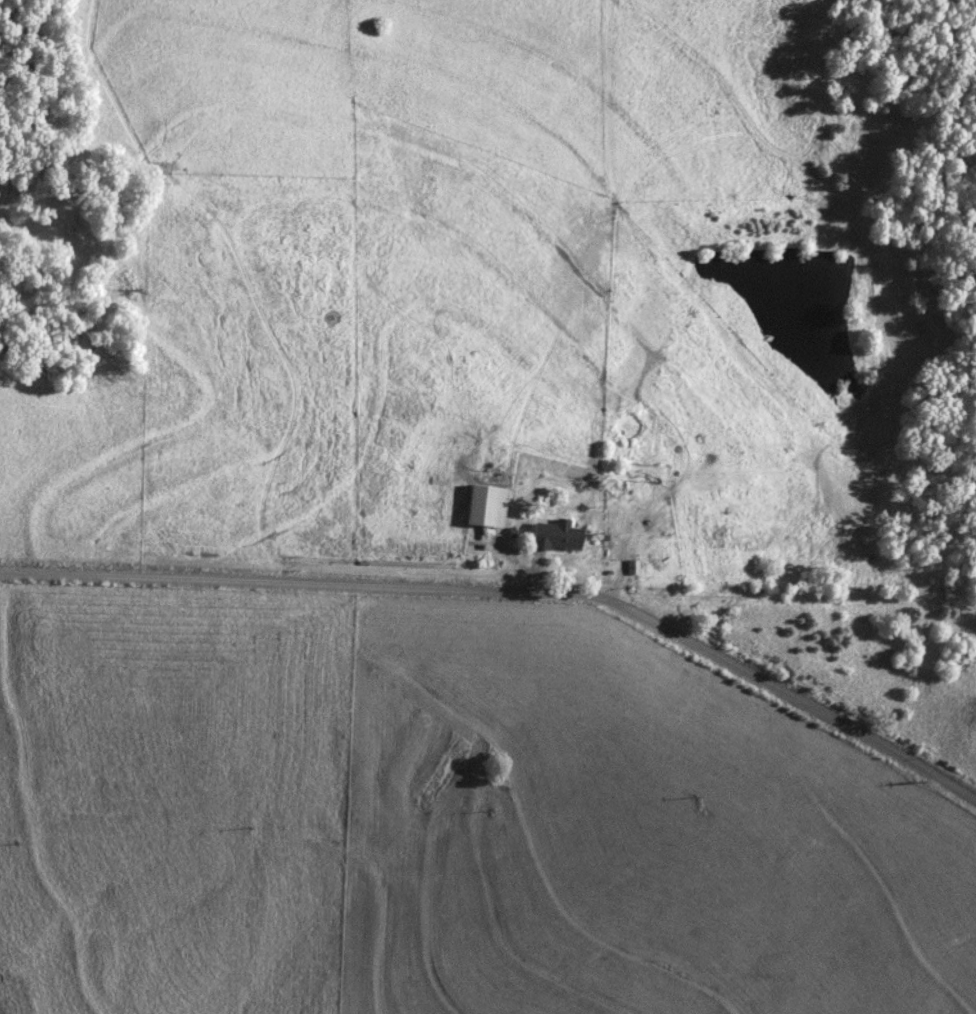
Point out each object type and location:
building: (716, 531)
building: (554, 537)
road: (513, 592)

